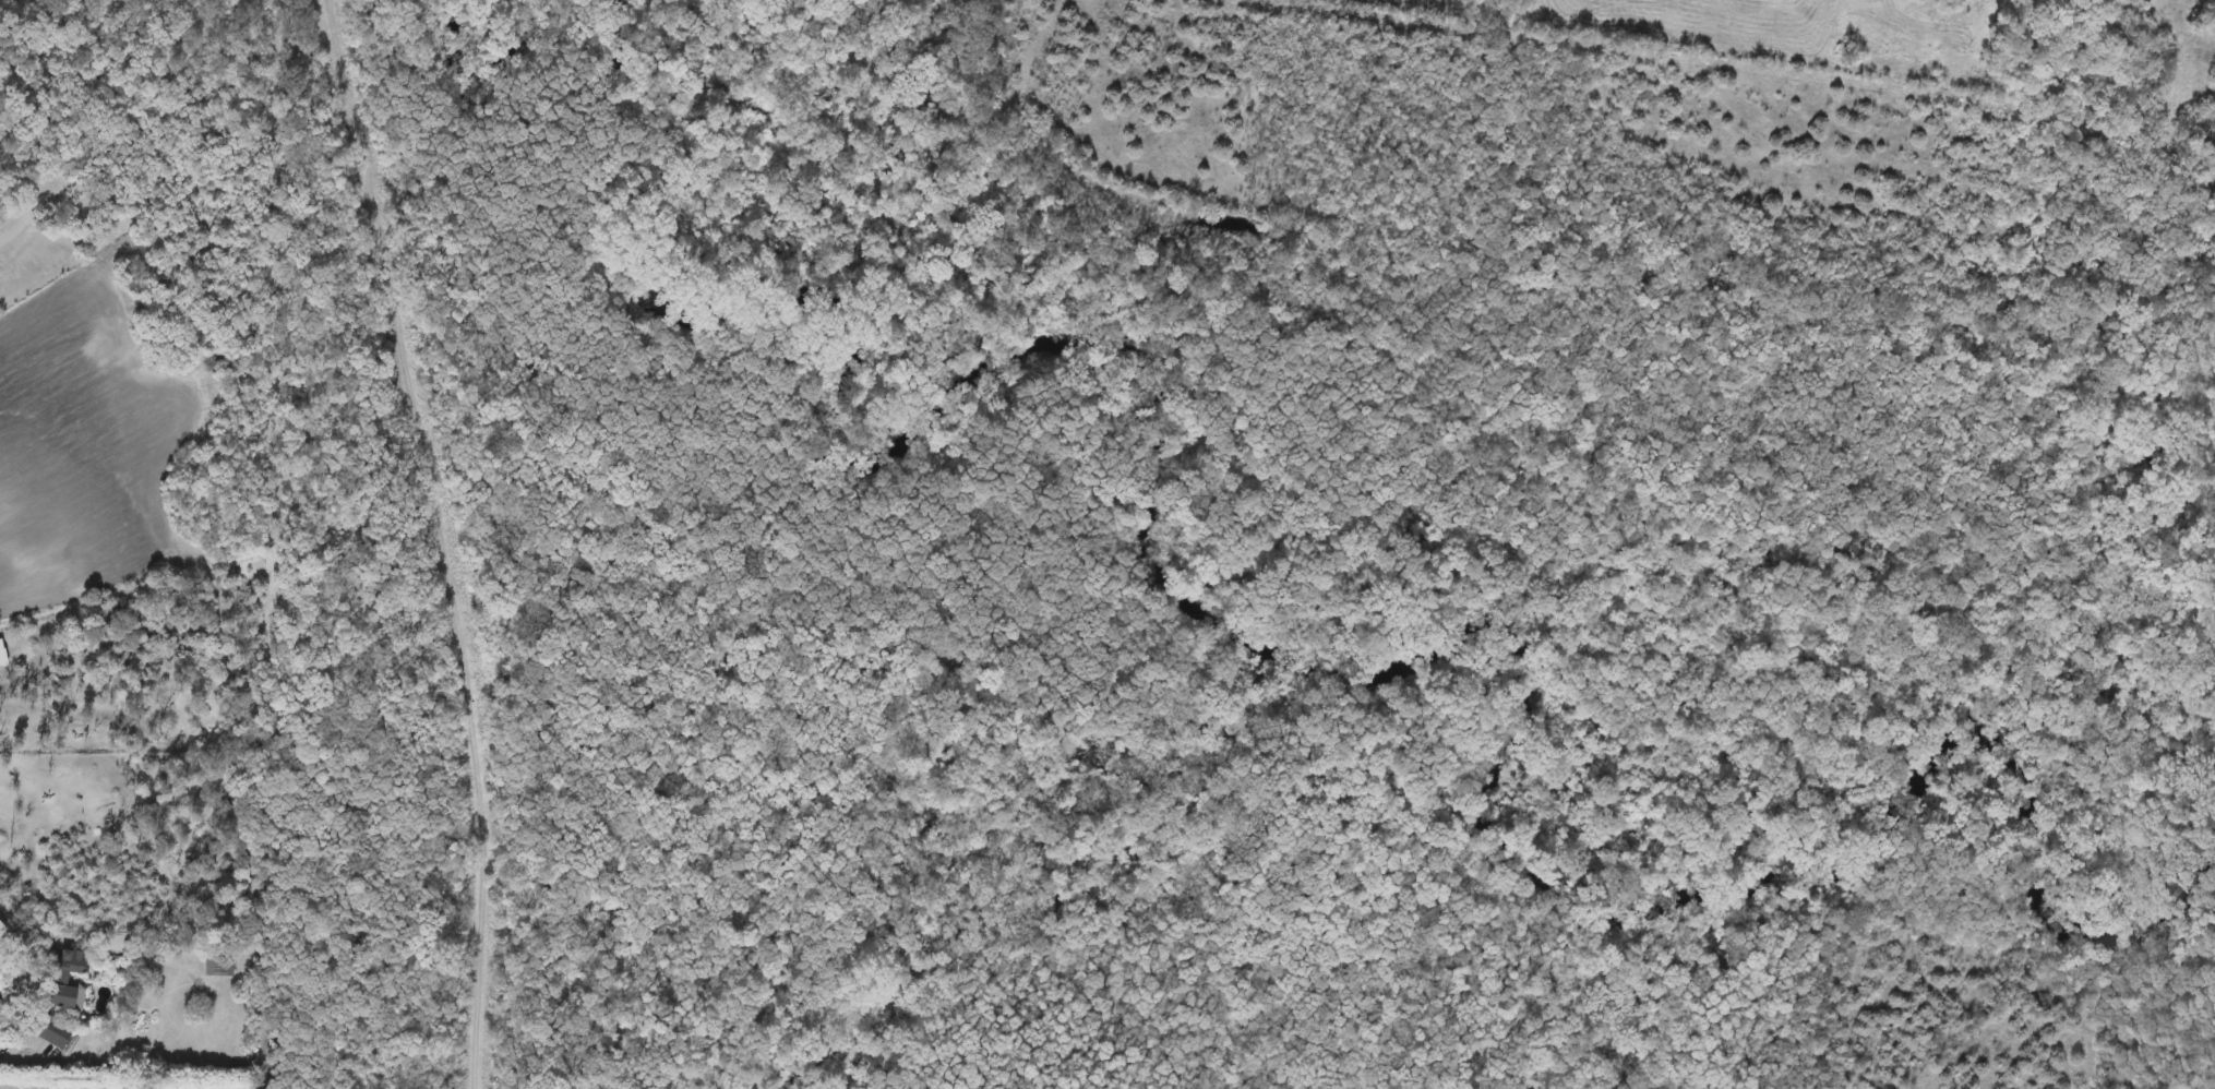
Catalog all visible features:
building: (217, 966)
building: (56, 1002)
road: (17, 1061)

